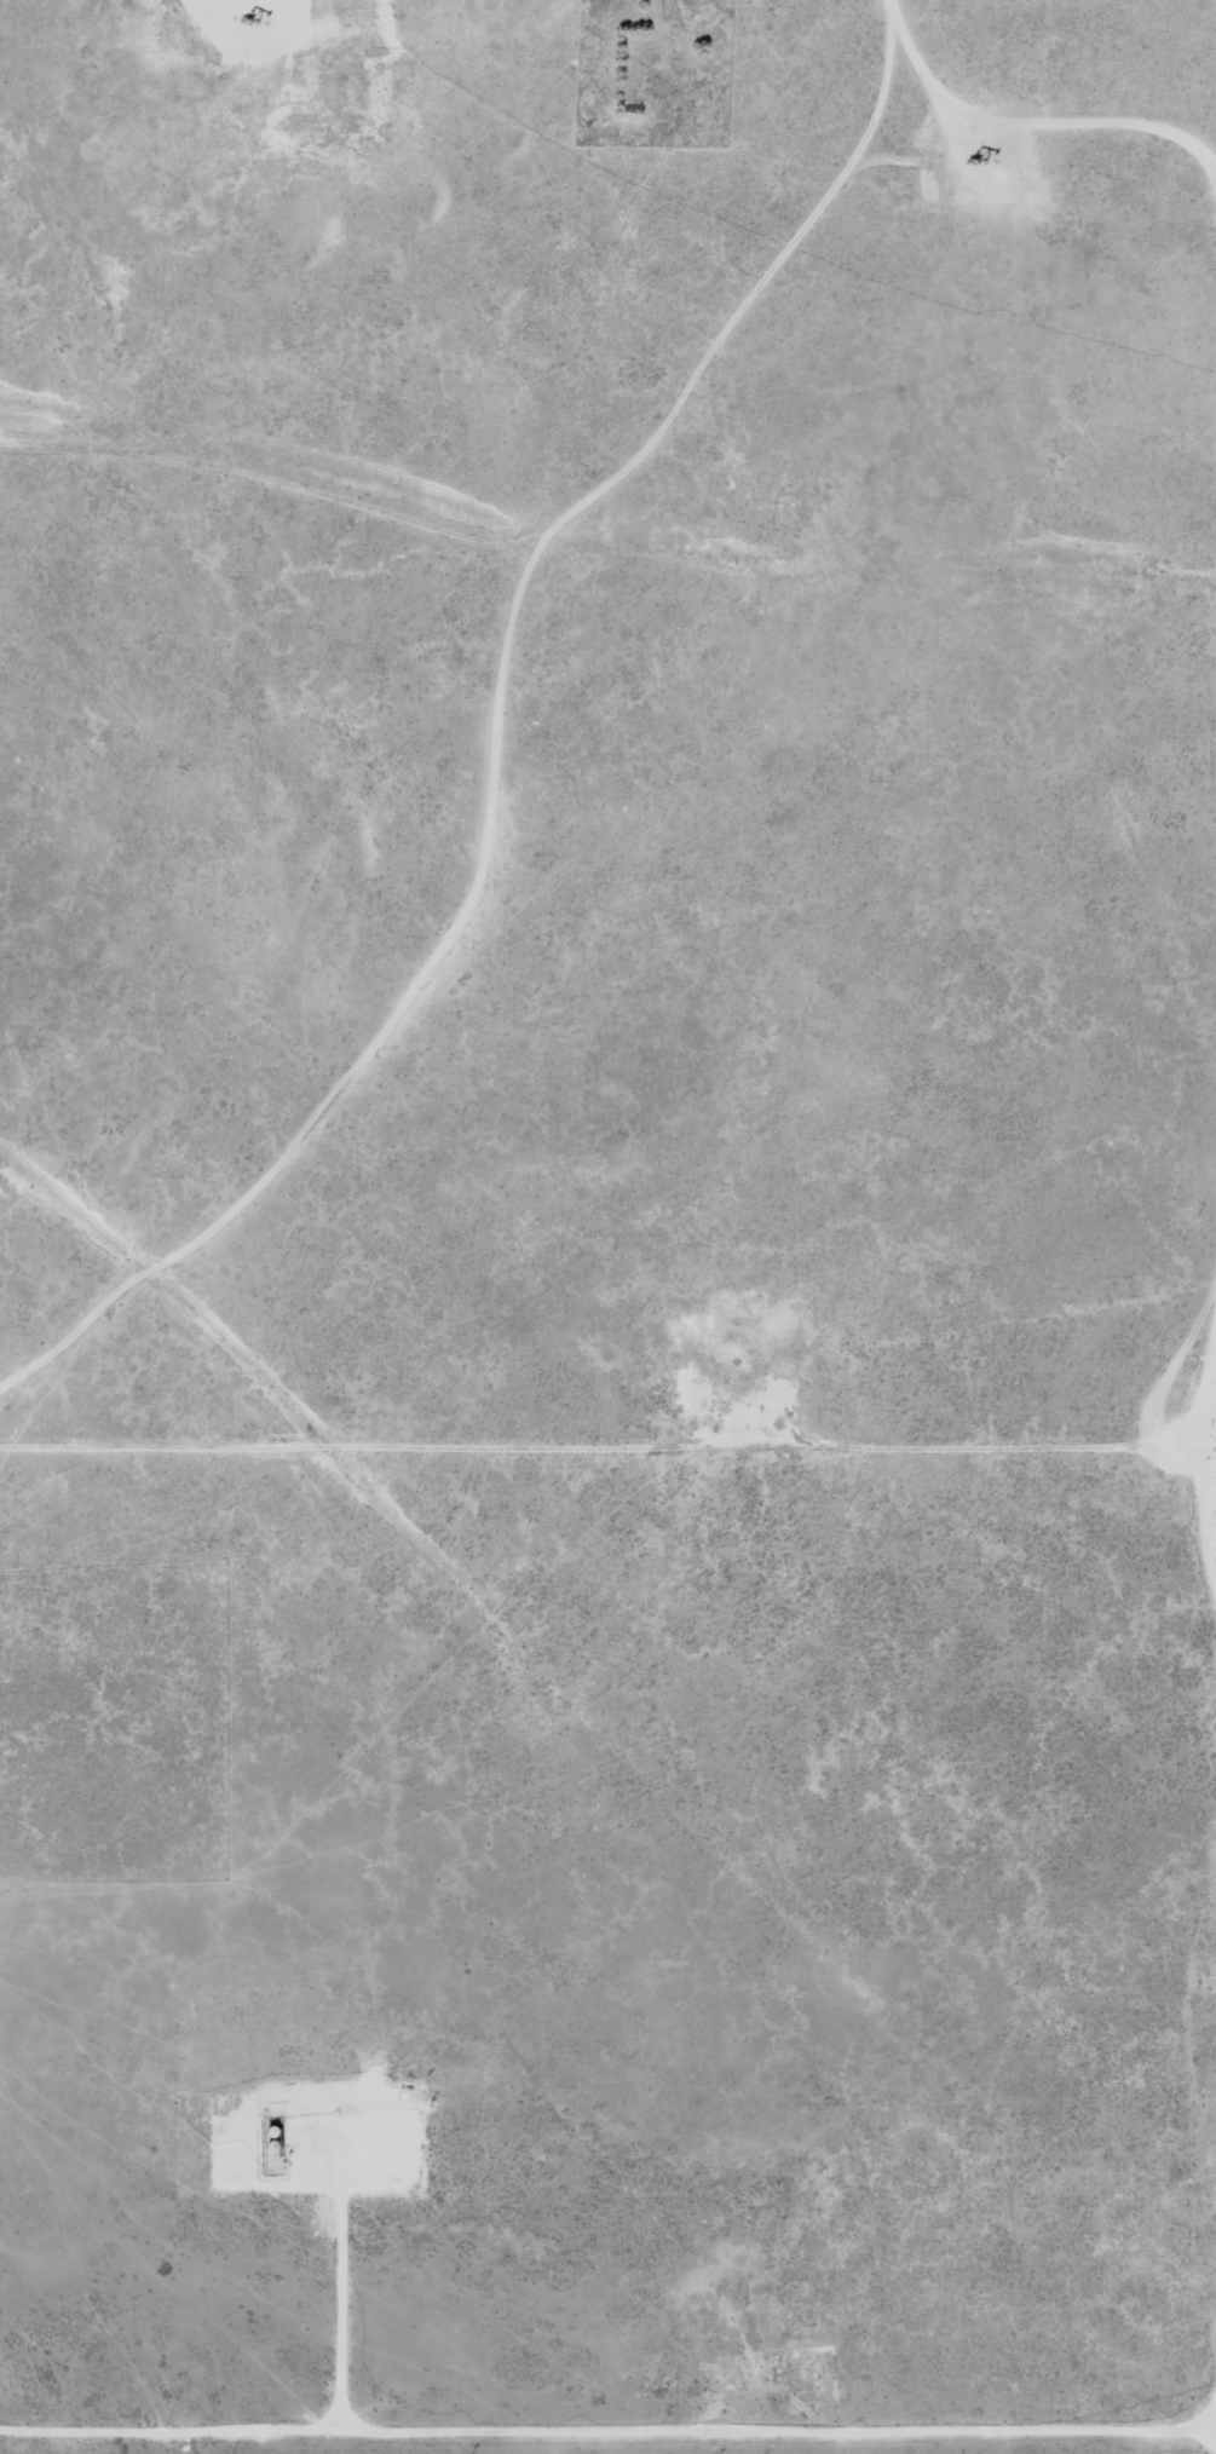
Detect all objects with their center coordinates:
road: (1194, 319)
road: (246, 483)
road: (466, 728)
road: (6, 2438)

